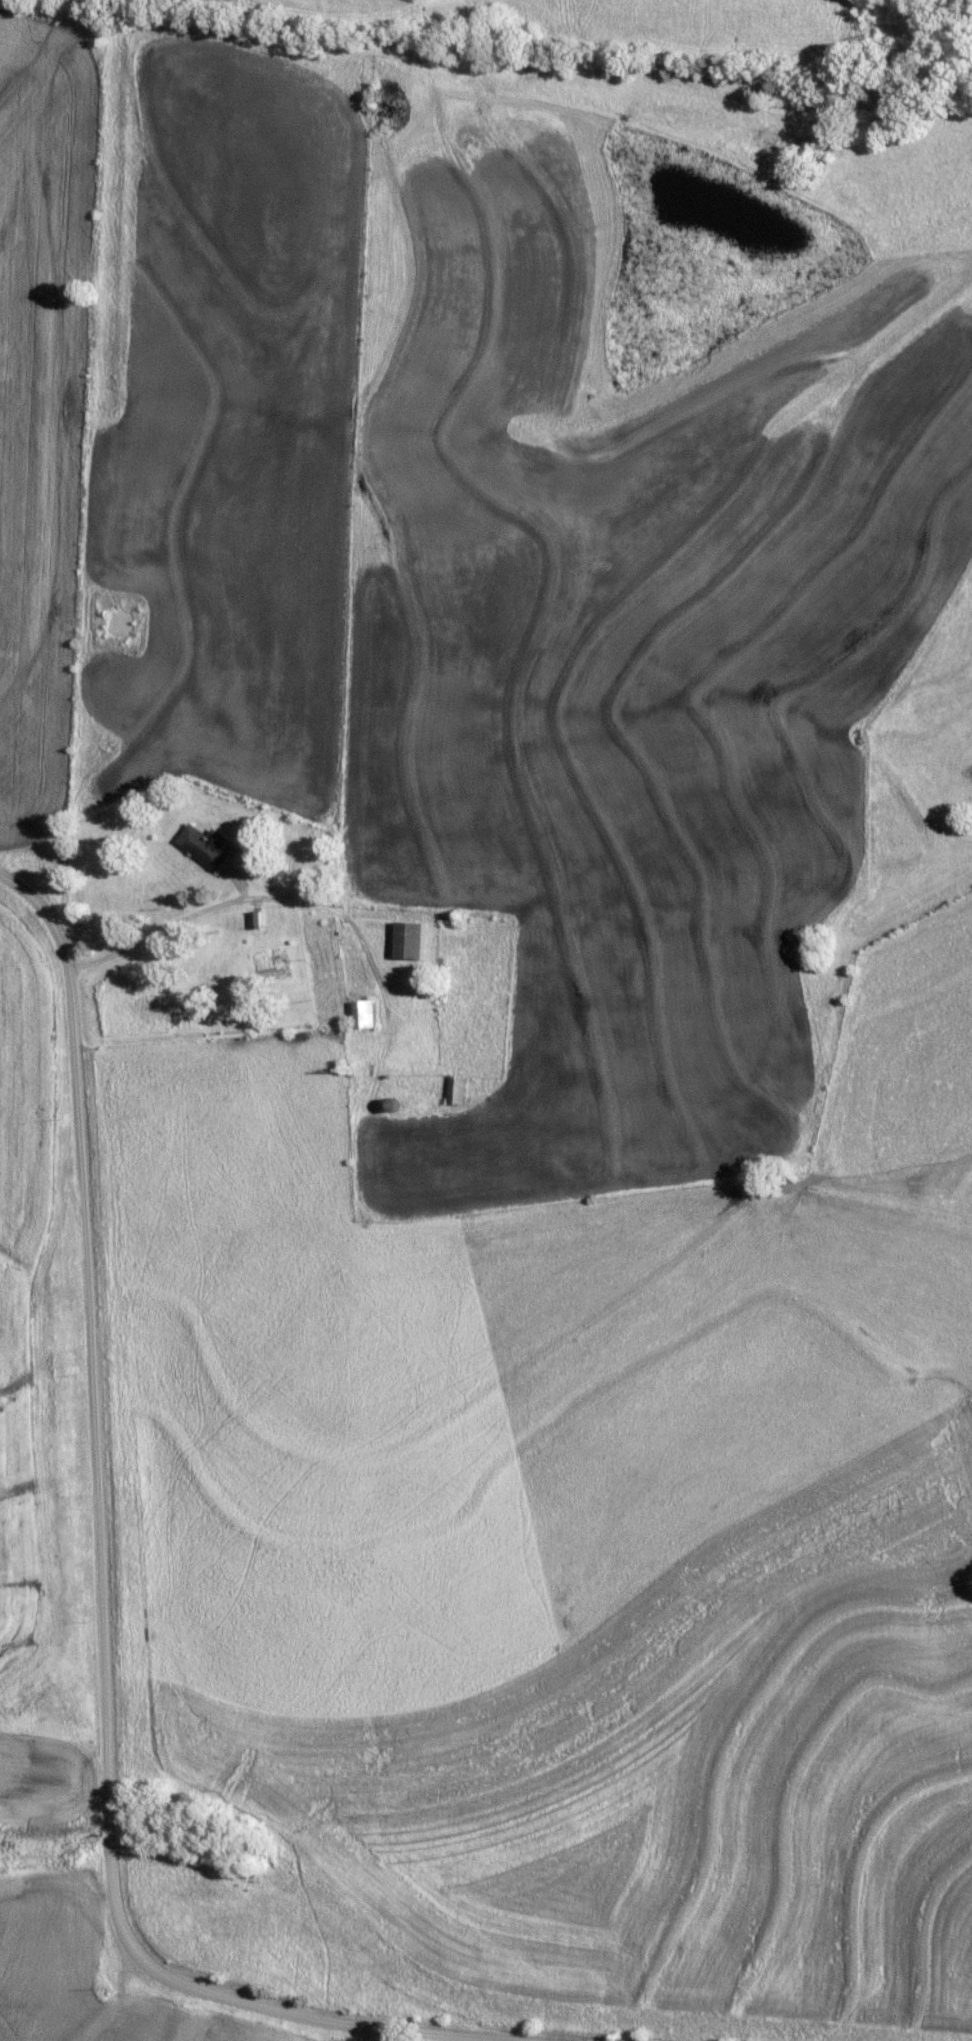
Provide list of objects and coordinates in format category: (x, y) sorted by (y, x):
building: (205, 845)
road: (163, 925)
building: (408, 939)
building: (364, 1013)
building: (455, 1090)
road: (104, 1494)

